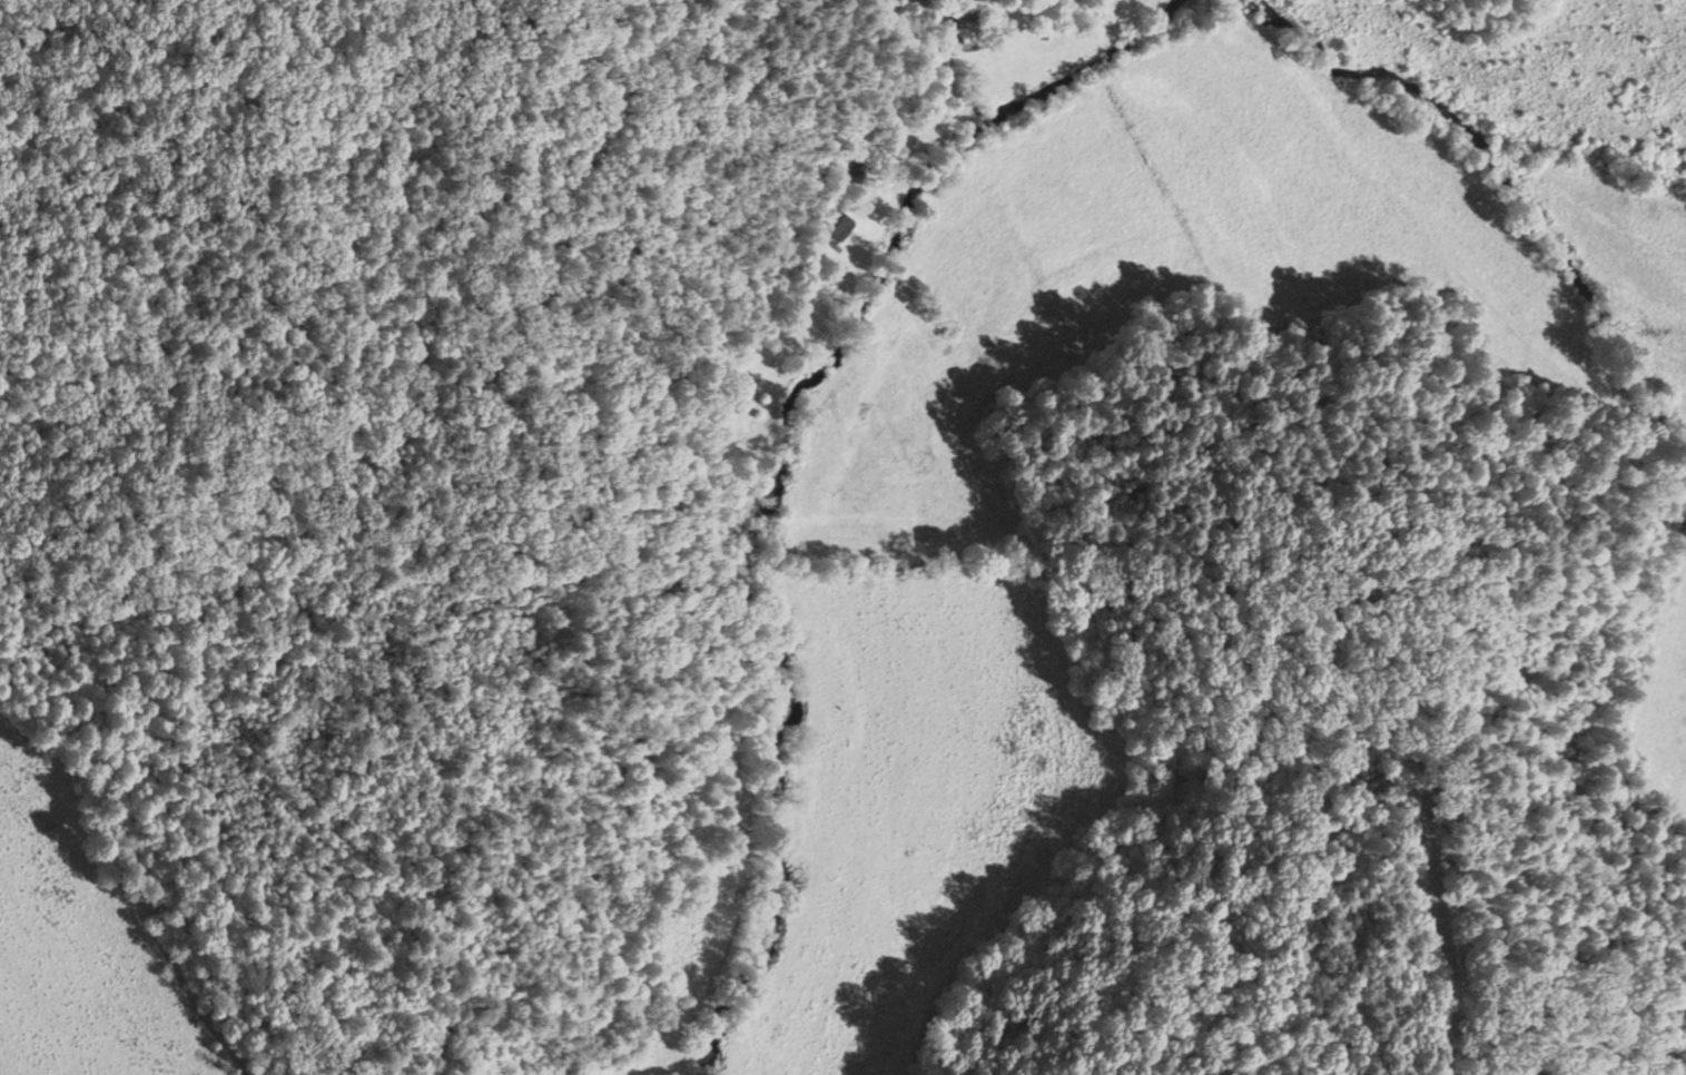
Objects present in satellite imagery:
building: (836, 225)

